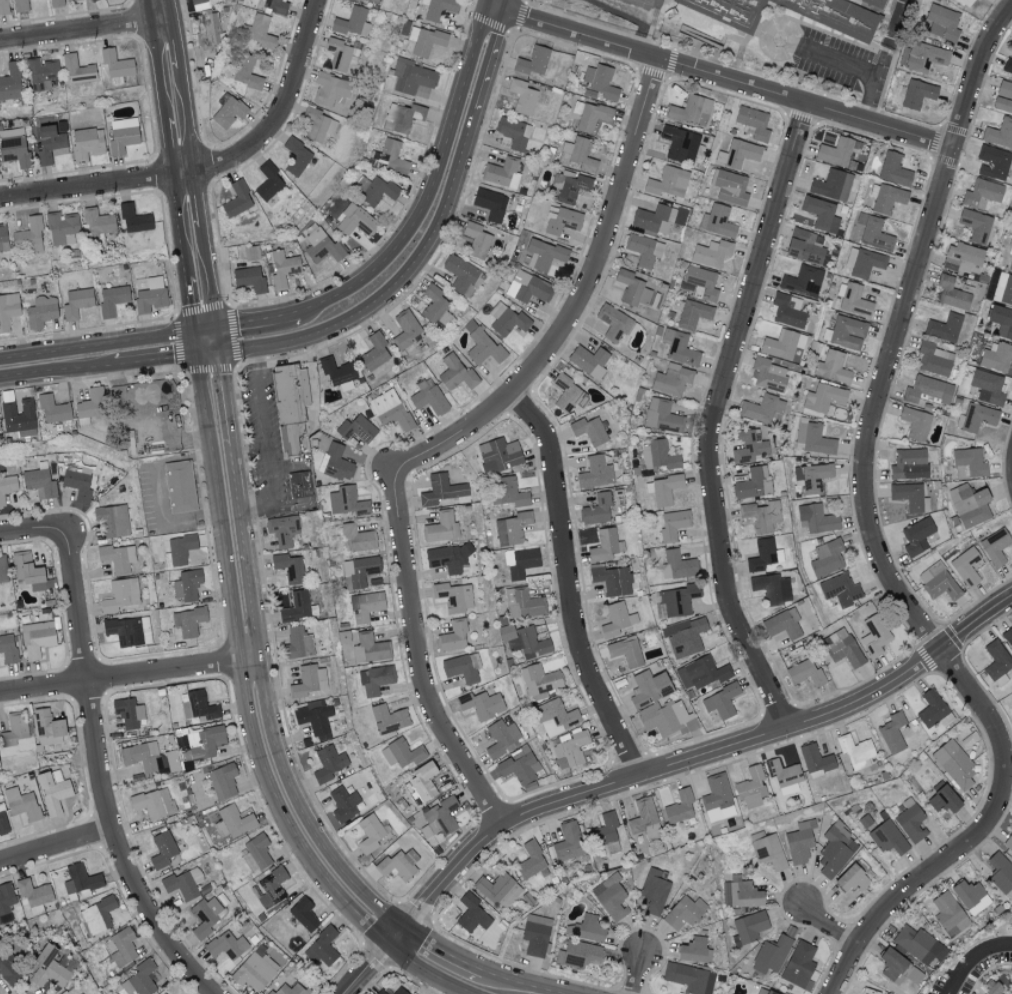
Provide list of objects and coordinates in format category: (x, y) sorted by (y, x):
building: (92, 0)
building: (659, 0)
building: (62, 1)
building: (373, 1)
building: (882, 2)
building: (967, 2)
building: (200, 4)
building: (20, 6)
building: (277, 6)
building: (3, 7)
road: (499, 9)
building: (441, 11)
building: (353, 22)
building: (942, 22)
road: (81, 28)
building: (854, 29)
building: (261, 32)
road: (768, 34)
building: (207, 35)
road: (886, 38)
building: (424, 41)
building: (340, 55)
building: (923, 56)
building: (532, 61)
building: (116, 64)
parking lot: (841, 64)
building: (1007, 66)
road: (853, 68)
building: (77, 70)
road: (974, 71)
building: (246, 72)
building: (41, 74)
building: (412, 78)
building: (10, 82)
building: (599, 82)
road: (723, 82)
building: (329, 89)
building: (917, 93)
building: (522, 97)
building: (1003, 97)
building: (227, 110)
building: (690, 110)
building: (589, 115)
building: (401, 117)
building: (753, 122)
building: (317, 124)
building: (513, 132)
building: (999, 133)
building: (122, 135)
building: (86, 143)
building: (49, 144)
building: (679, 144)
building: (13, 147)
building: (838, 152)
building: (738, 153)
building: (577, 155)
building: (296, 157)
building: (388, 157)
building: (992, 162)
road: (208, 165)
road: (184, 169)
building: (893, 169)
building: (501, 173)
building: (268, 182)
building: (667, 182)
building: (569, 185)
building: (831, 185)
building: (729, 187)
building: (374, 190)
building: (886, 198)
building: (237, 200)
building: (490, 204)
building: (821, 214)
building: (653, 219)
building: (134, 220)
building: (355, 220)
building: (561, 220)
building: (717, 221)
building: (976, 225)
building: (98, 226)
building: (61, 228)
building: (874, 232)
building: (29, 235)
building: (2, 238)
building: (476, 240)
road: (418, 244)
building: (321, 246)
building: (805, 246)
building: (643, 249)
building: (251, 253)
building: (710, 253)
building: (543, 254)
building: (963, 258)
building: (864, 262)
building: (1010, 263)
building: (282, 269)
building: (462, 276)
building: (249, 279)
building: (802, 281)
building: (701, 283)
building: (527, 288)
building: (632, 289)
building: (1003, 289)
building: (148, 293)
building: (953, 293)
building: (111, 299)
building: (853, 300)
building: (76, 303)
building: (435, 308)
building: (8, 310)
building: (39, 312)
building: (786, 312)
building: (693, 314)
building: (506, 320)
building: (1001, 320)
building: (613, 322)
building: (944, 328)
building: (405, 329)
building: (848, 332)
traffic signals: (206, 340)
building: (782, 344)
building: (679, 347)
building: (374, 352)
road: (103, 354)
building: (996, 357)
building: (587, 358)
building: (934, 359)
building: (832, 367)
building: (335, 371)
building: (455, 374)
building: (768, 374)
building: (672, 380)
building: (987, 387)
building: (928, 391)
building: (565, 392)
building: (428, 398)
building: (823, 400)
building: (7, 406)
building: (90, 406)
building: (292, 408)
building: (762, 409)
building: (389, 410)
building: (55, 412)
building: (662, 416)
building: (976, 417)
road: (712, 418)
building: (915, 423)
road: (207, 426)
building: (356, 429)
building: (589, 431)
road: (265, 436)
building: (813, 438)
road: (450, 439)
building: (749, 447)
building: (498, 455)
building: (658, 456)
building: (335, 463)
building: (908, 464)
building: (968, 464)
building: (595, 473)
building: (811, 478)
building: (39, 483)
building: (753, 483)
building: (77, 485)
building: (303, 486)
building: (7, 487)
building: (183, 488)
building: (662, 489)
road: (157, 491)
building: (442, 491)
building: (509, 492)
building: (910, 497)
building: (346, 501)
building: (970, 505)
building: (597, 510)
building: (761, 515)
building: (815, 519)
building: (112, 520)
building: (673, 524)
building: (441, 528)
road: (30, 529)
building: (511, 529)
building: (281, 533)
building: (916, 536)
building: (356, 539)
building: (605, 546)
building: (995, 547)
building: (180, 549)
building: (763, 555)
building: (117, 558)
building: (827, 558)
building: (447, 559)
building: (520, 563)
building: (678, 565)
building: (288, 567)
building: (966, 567)
building: (3, 571)
building: (358, 571)
building: (28, 573)
building: (616, 580)
building: (938, 582)
road: (568, 584)
building: (186, 585)
building: (774, 588)
building: (840, 589)
building: (121, 595)
building: (453, 597)
building: (675, 601)
building: (522, 603)
building: (365, 606)
road: (907, 606)
building: (296, 607)
building: (614, 620)
building: (186, 623)
building: (783, 625)
building: (128, 631)
building: (453, 636)
building: (685, 636)
building: (874, 636)
building: (1008, 638)
building: (36, 639)
building: (523, 641)
building: (297, 644)
building: (7, 649)
building: (369, 649)
building: (842, 650)
building: (625, 652)
road: (256, 656)
building: (997, 663)
building: (462, 667)
building: (701, 673)
road: (128, 674)
building: (805, 674)
building: (374, 680)
building: (539, 682)
building: (309, 683)
building: (648, 687)
building: (720, 702)
building: (197, 705)
building: (481, 705)
building: (933, 709)
building: (127, 712)
building: (314, 717)
building: (555, 717)
building: (388, 719)
building: (668, 719)
building: (47, 727)
building: (14, 728)
building: (892, 732)
building: (500, 739)
building: (207, 741)
building: (570, 749)
road: (258, 751)
building: (855, 751)
building: (401, 753)
road: (701, 756)
building: (141, 757)
building: (815, 760)
building: (327, 763)
building: (954, 765)
building: (519, 768)
road: (106, 773)
building: (785, 777)
building: (222, 780)
building: (421, 781)
building: (751, 787)
building: (52, 790)
building: (941, 797)
building: (716, 798)
building: (21, 802)
building: (153, 802)
building: (343, 803)
building: (679, 806)
building: (438, 817)
building: (644, 818)
building: (2, 820)
building: (910, 820)
building: (233, 821)
building: (606, 831)
building: (369, 832)
building: (887, 837)
building: (568, 841)
building: (799, 841)
building: (1008, 841)
road: (57, 846)
building: (161, 849)
building: (256, 851)
building: (768, 851)
building: (531, 861)
building: (398, 864)
building: (1000, 872)
building: (852, 876)
building: (79, 879)
building: (183, 882)
building: (268, 888)
building: (498, 889)
building: (653, 891)
building: (746, 894)
building: (33, 896)
building: (610, 896)
building: (970, 896)
building: (5, 901)
building: (683, 912)
building: (471, 913)
building: (303, 914)
building: (948, 914)
building: (97, 915)
building: (204, 916)
road: (829, 925)
building: (749, 926)
building: (590, 927)
building: (535, 934)
road: (399, 938)
building: (226, 944)
building: (918, 944)
building: (122, 946)
building: (321, 947)
building: (694, 950)
building: (577, 953)
building: (771, 954)
road: (971, 957)
building: (890, 963)
building: (798, 964)
building: (48, 967)
road: (486, 968)
building: (8, 970)
building: (254, 971)
road: (370, 971)
road: (431, 971)
road: (638, 974)
building: (689, 977)
building: (140, 979)
building: (288, 989)
building: (992, 989)
building: (399, 991)
building: (763, 991)
building: (380, 992)
building: (80, 993)

